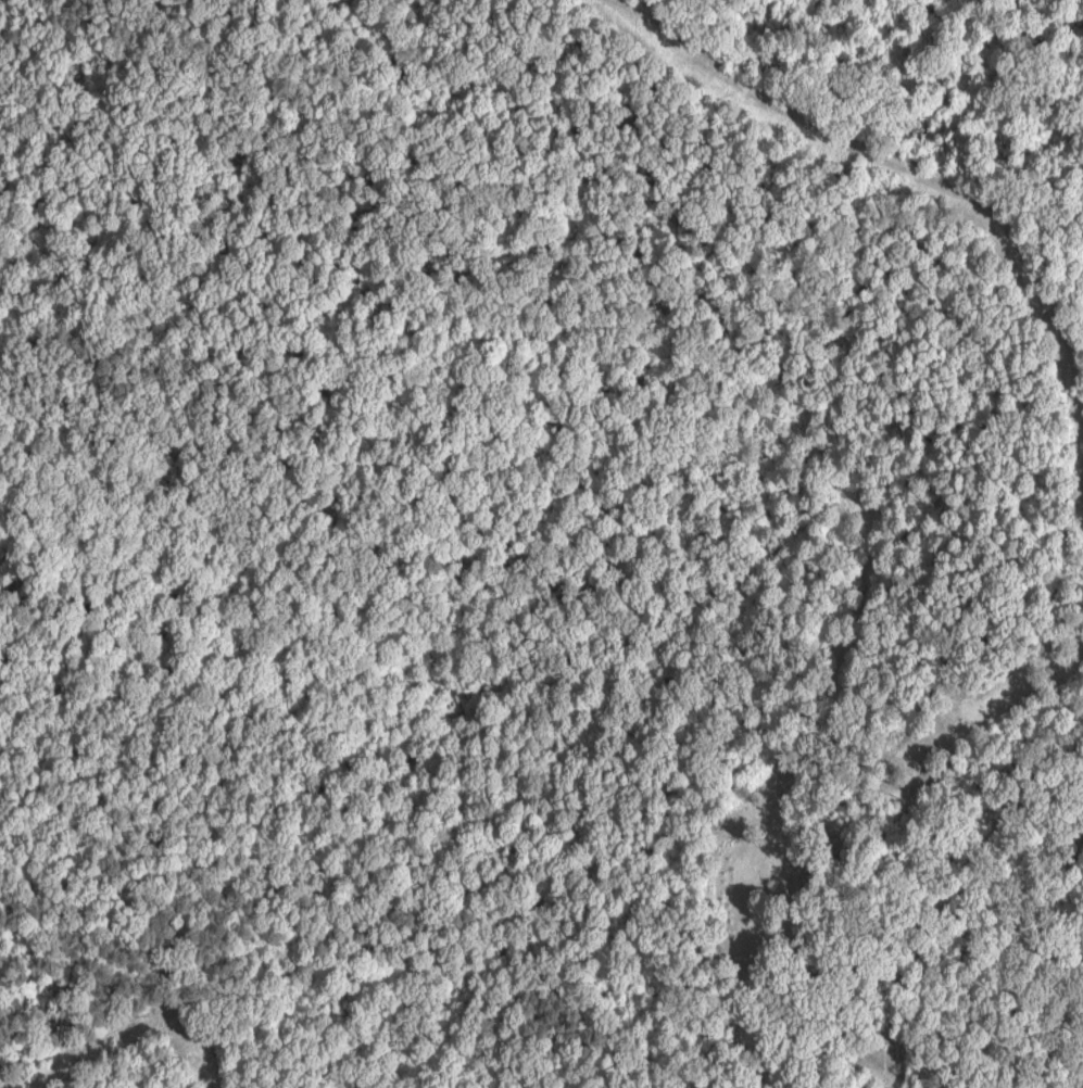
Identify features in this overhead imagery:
road: (781, 667)

